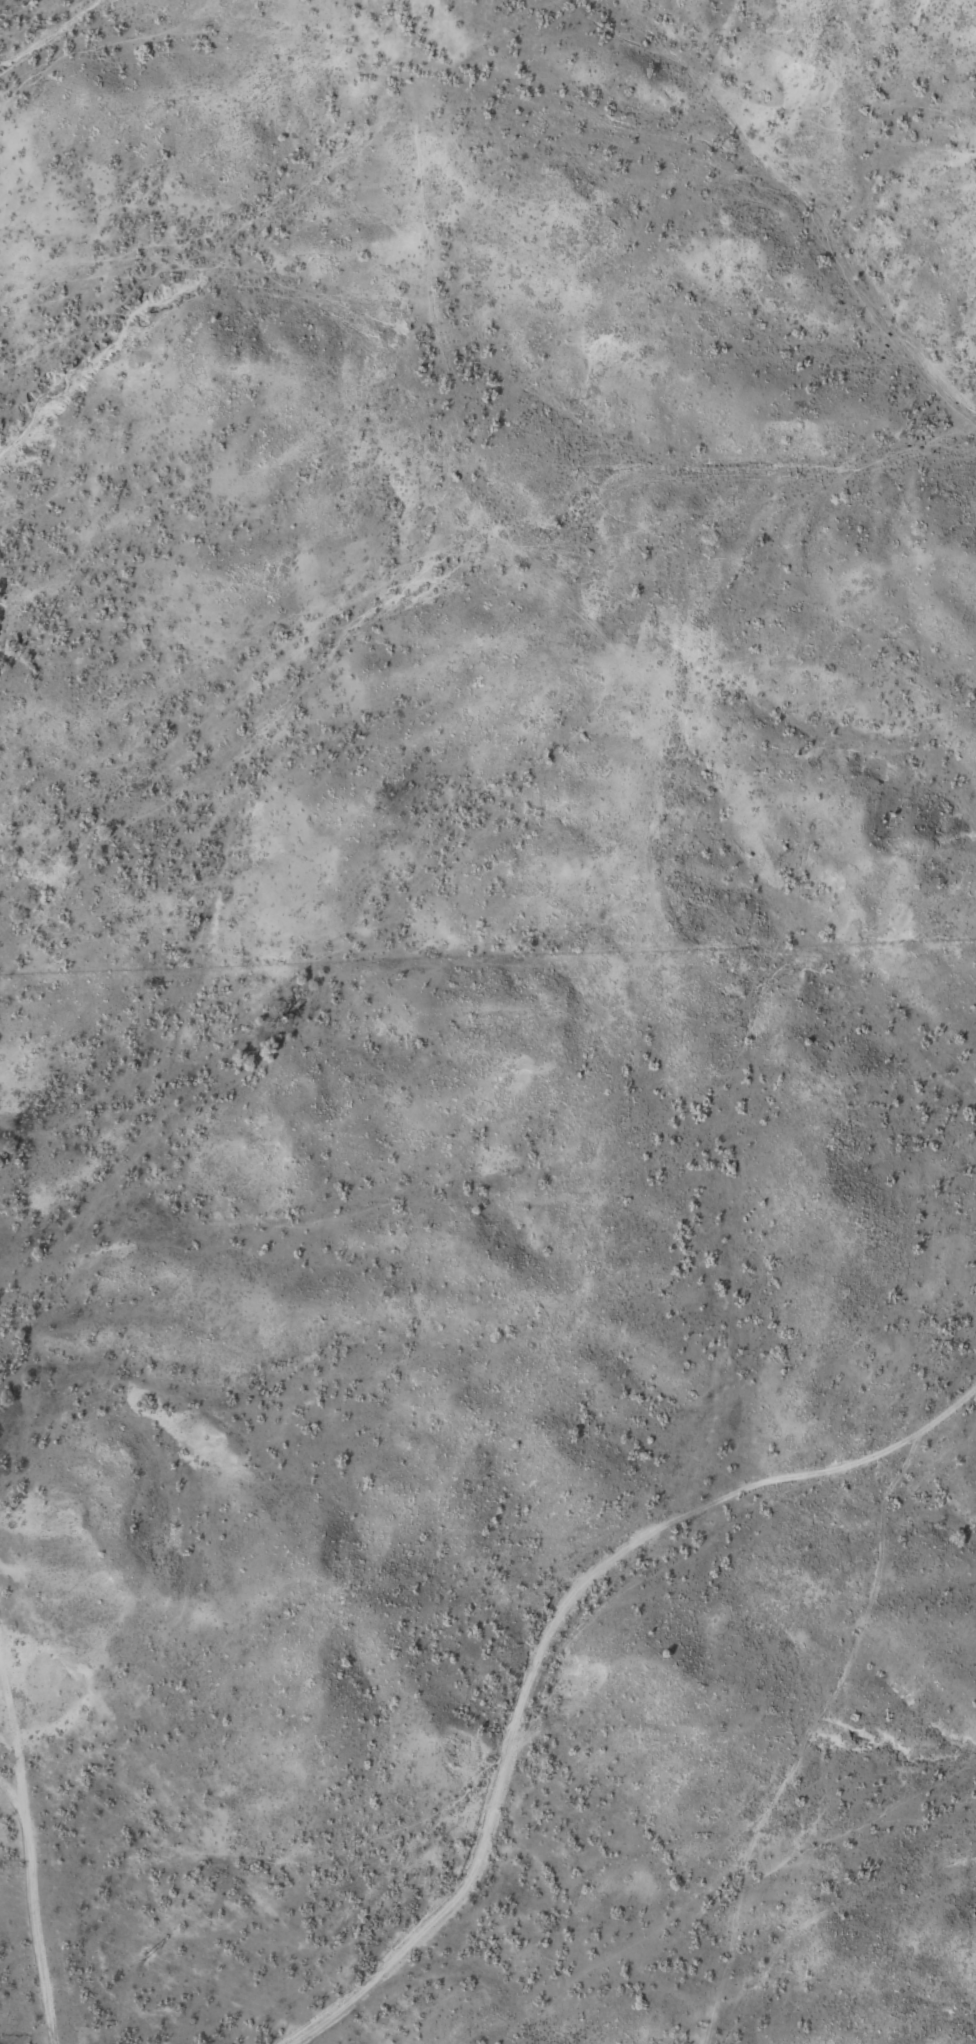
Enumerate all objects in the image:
power tower: (144, 1956)

